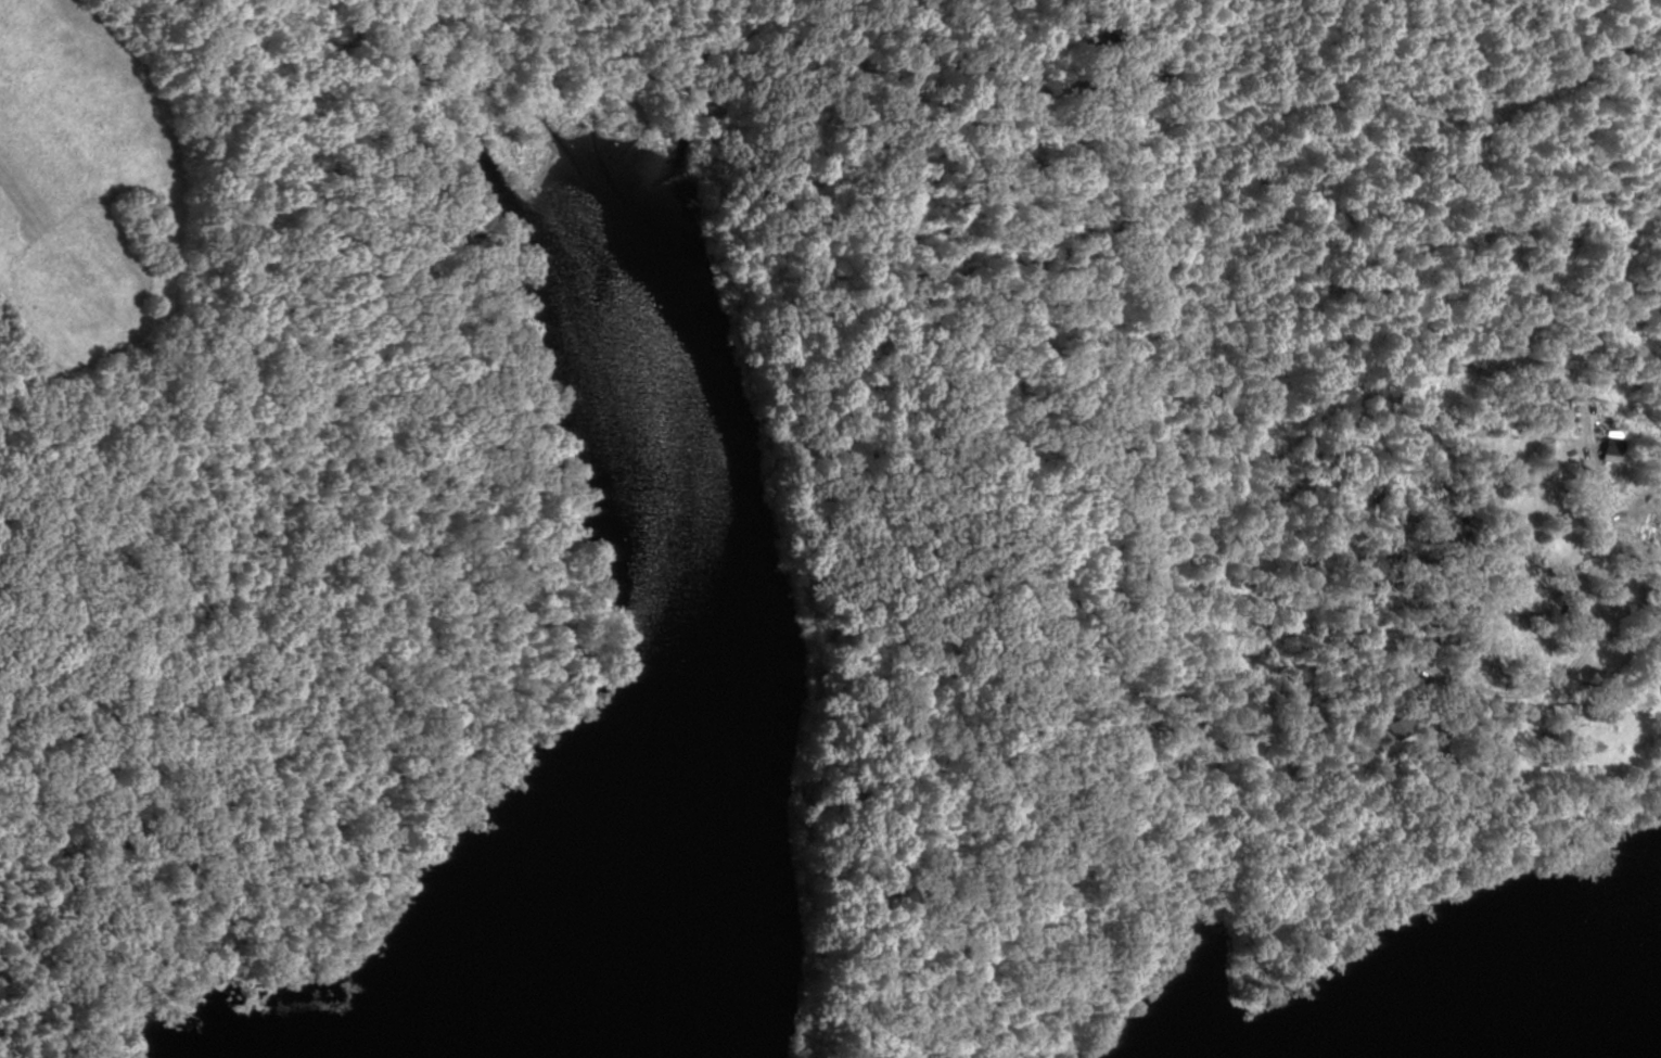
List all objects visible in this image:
road: (1572, 353)
building: (1610, 448)
building: (1402, 727)

